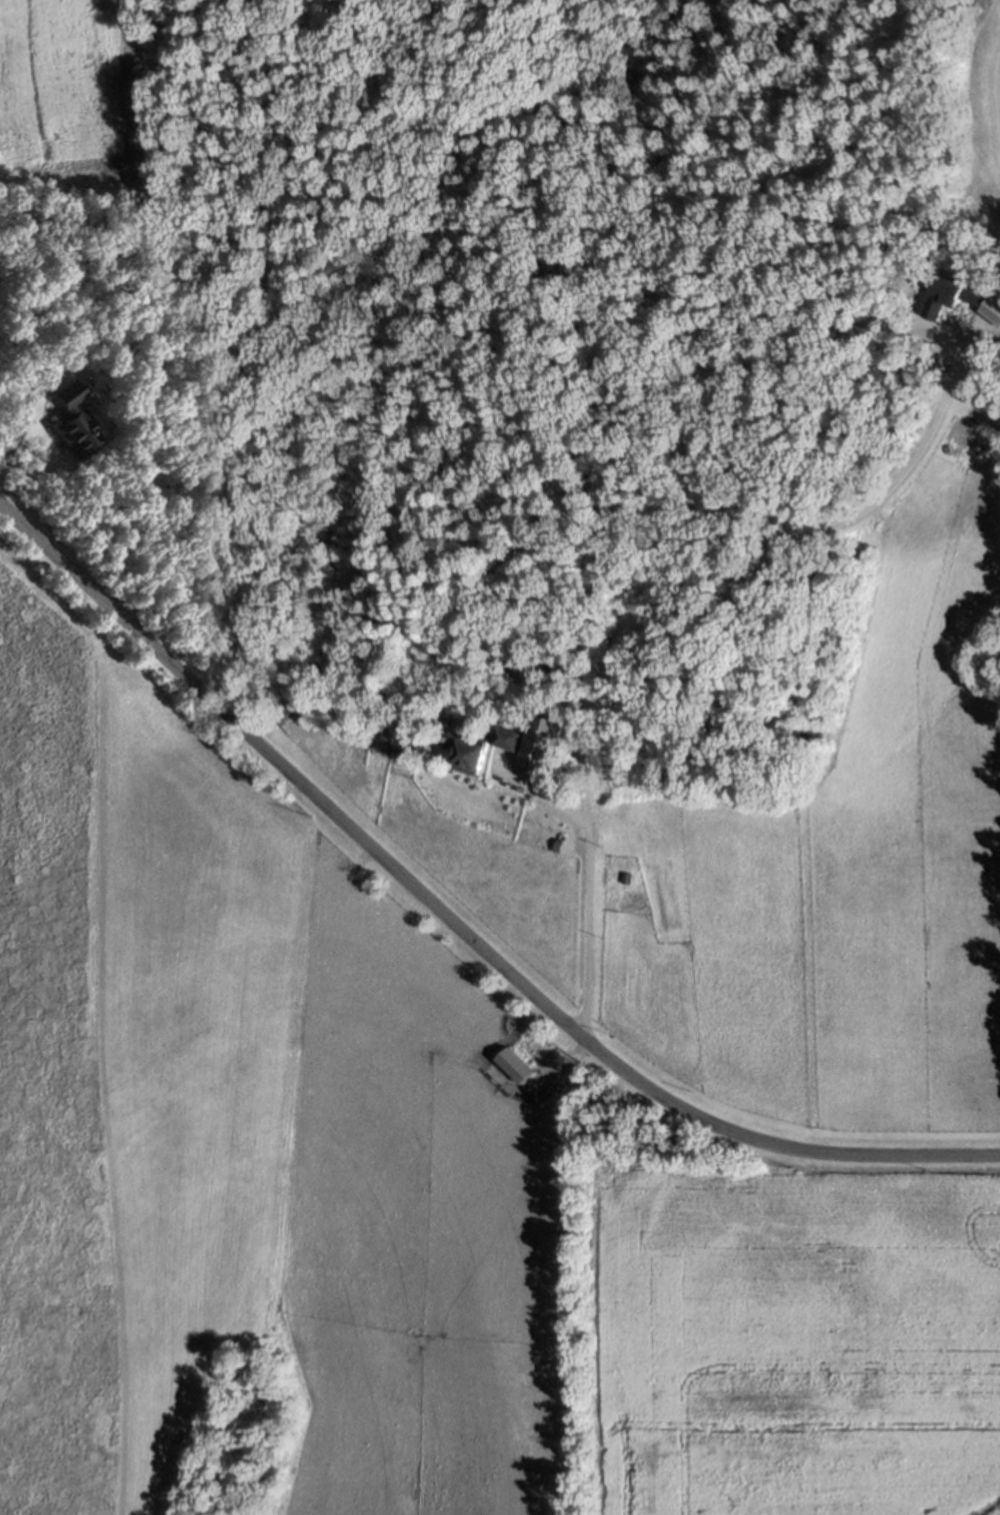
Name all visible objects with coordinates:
road: (17, 405)
building: (67, 421)
building: (509, 737)
building: (397, 740)
building: (470, 751)
building: (358, 754)
building: (523, 756)
building: (561, 844)
road: (589, 876)
building: (642, 905)
road: (455, 924)

